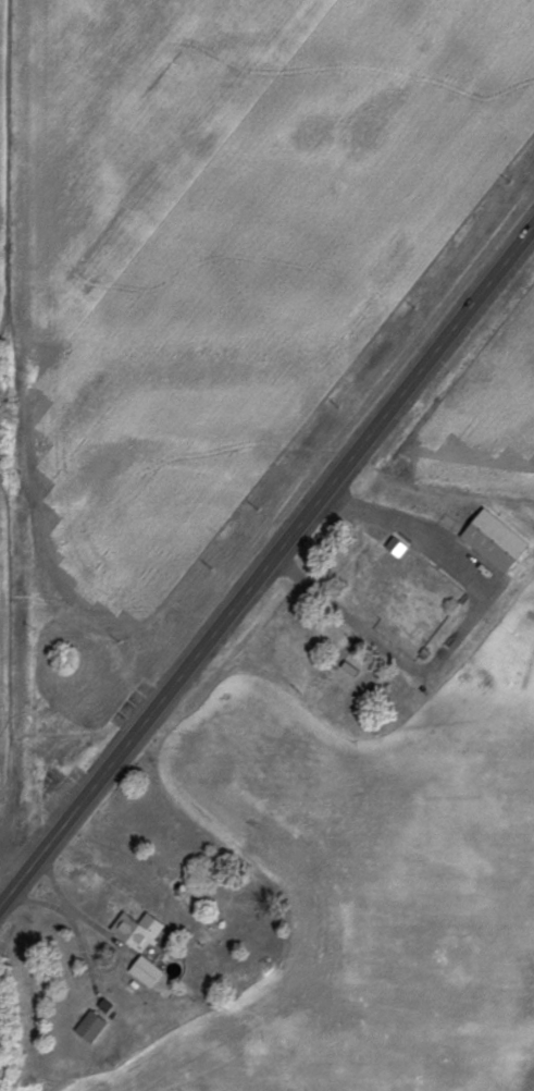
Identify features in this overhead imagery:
building: (490, 540)
road: (266, 565)
building: (141, 970)
building: (88, 1026)

